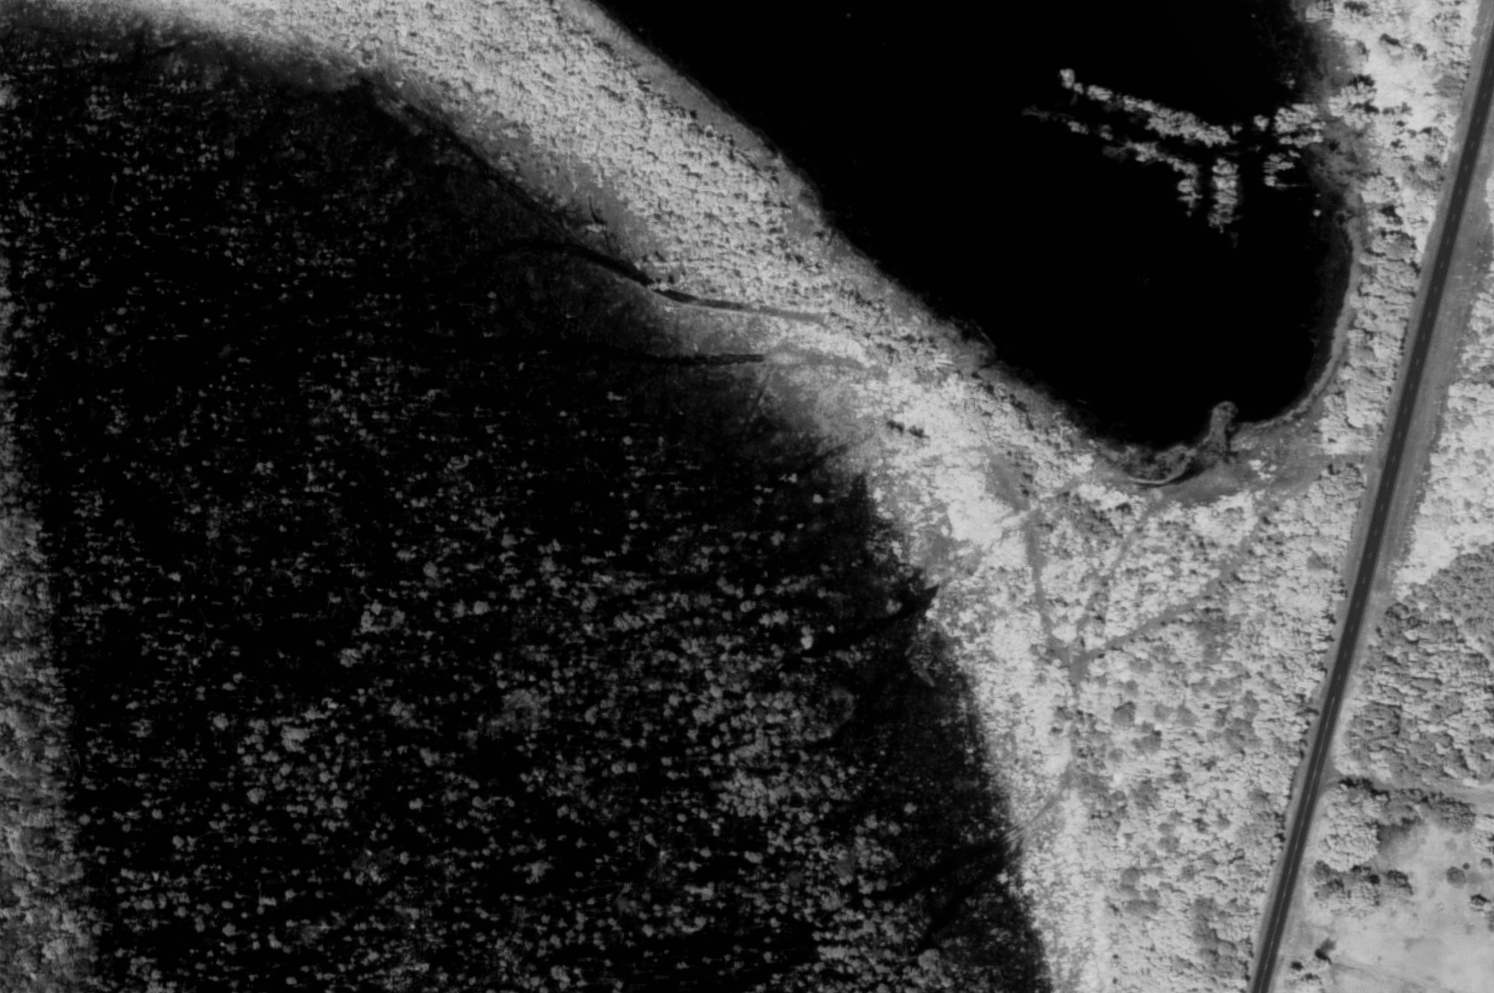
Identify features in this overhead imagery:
road: (1376, 525)
road: (1403, 787)
building: (1492, 841)

